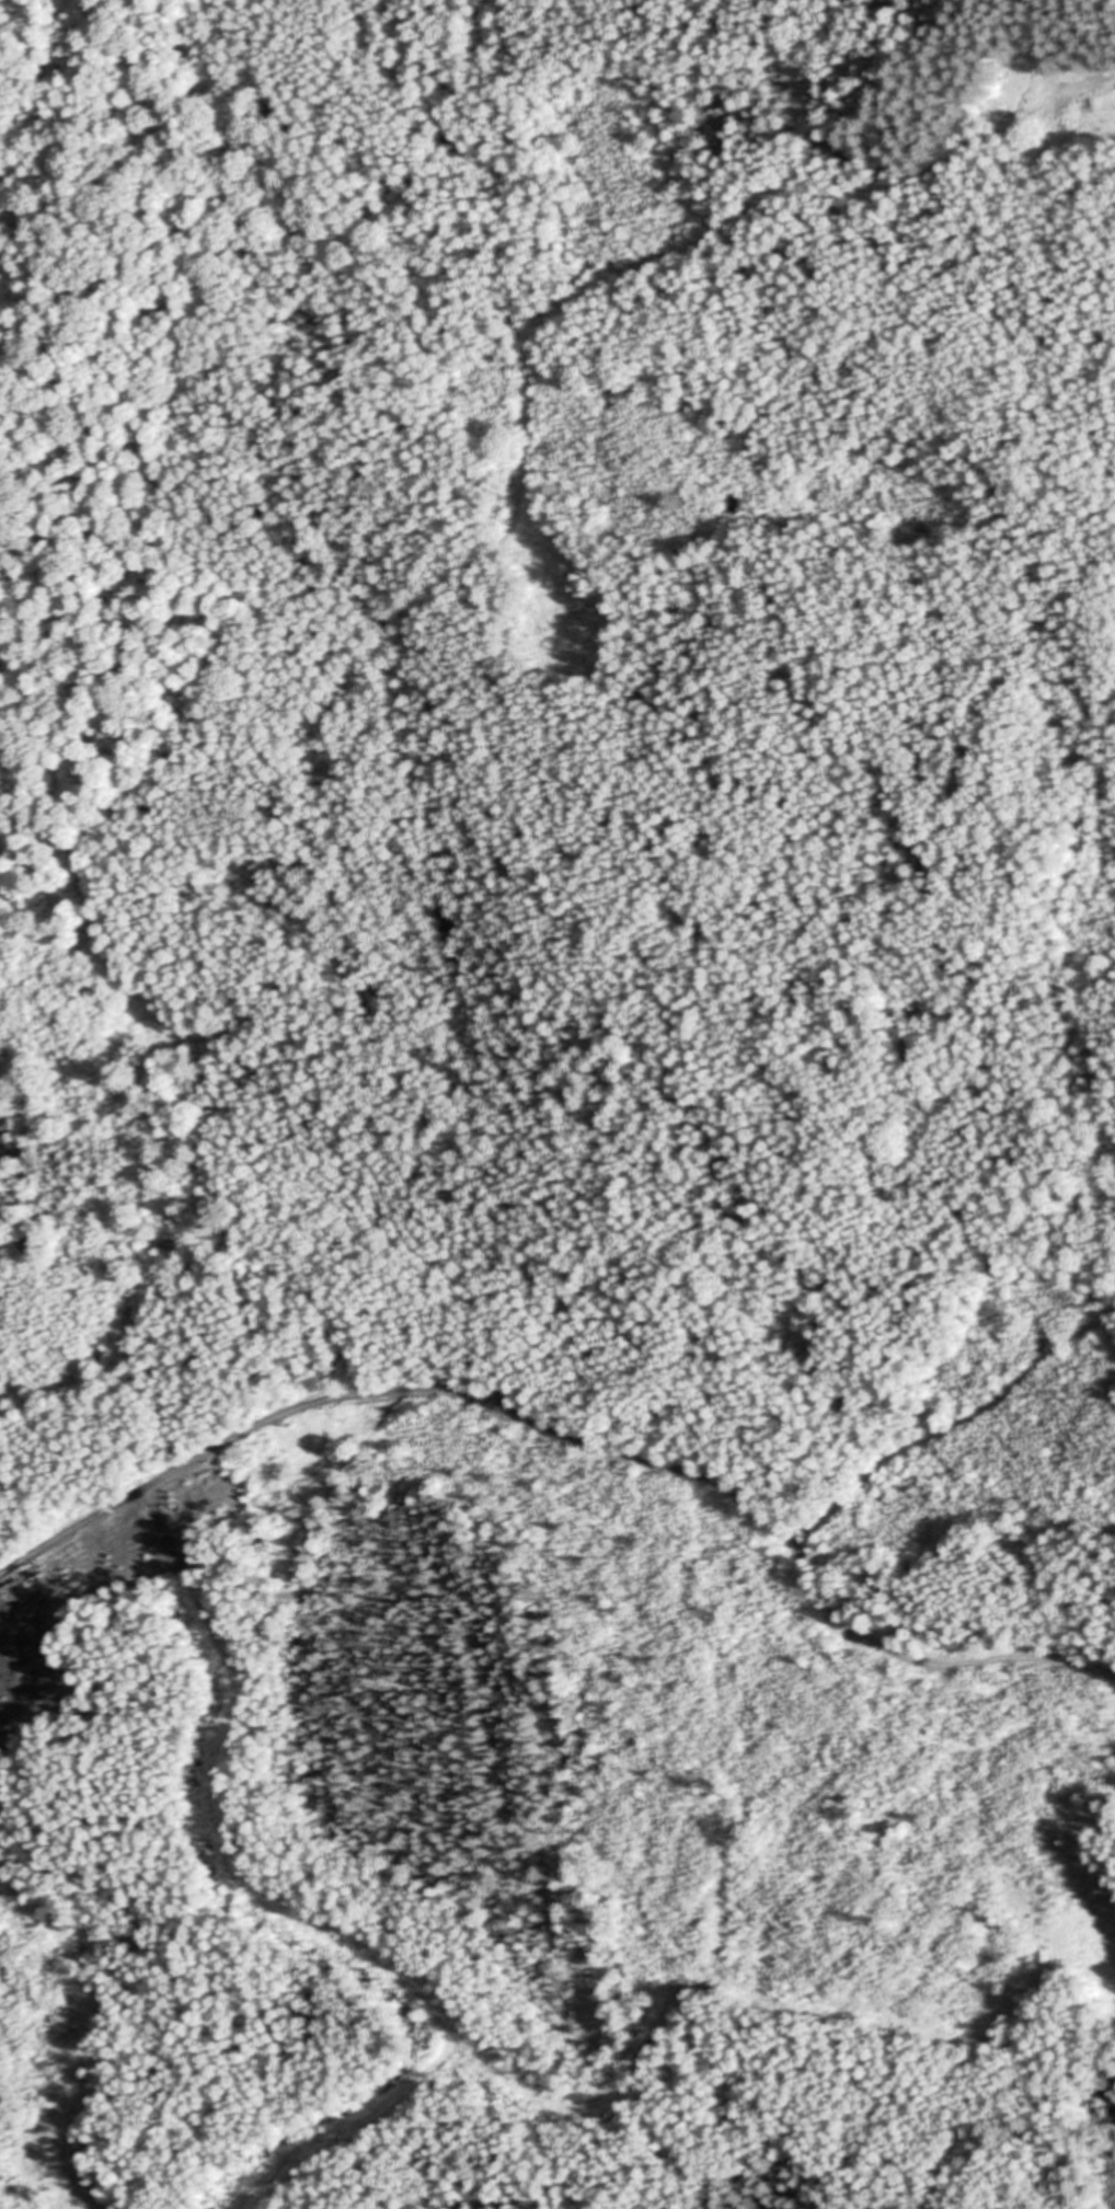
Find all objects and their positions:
road: (416, 605)
road: (953, 1428)
road: (153, 1482)
road: (739, 1496)

